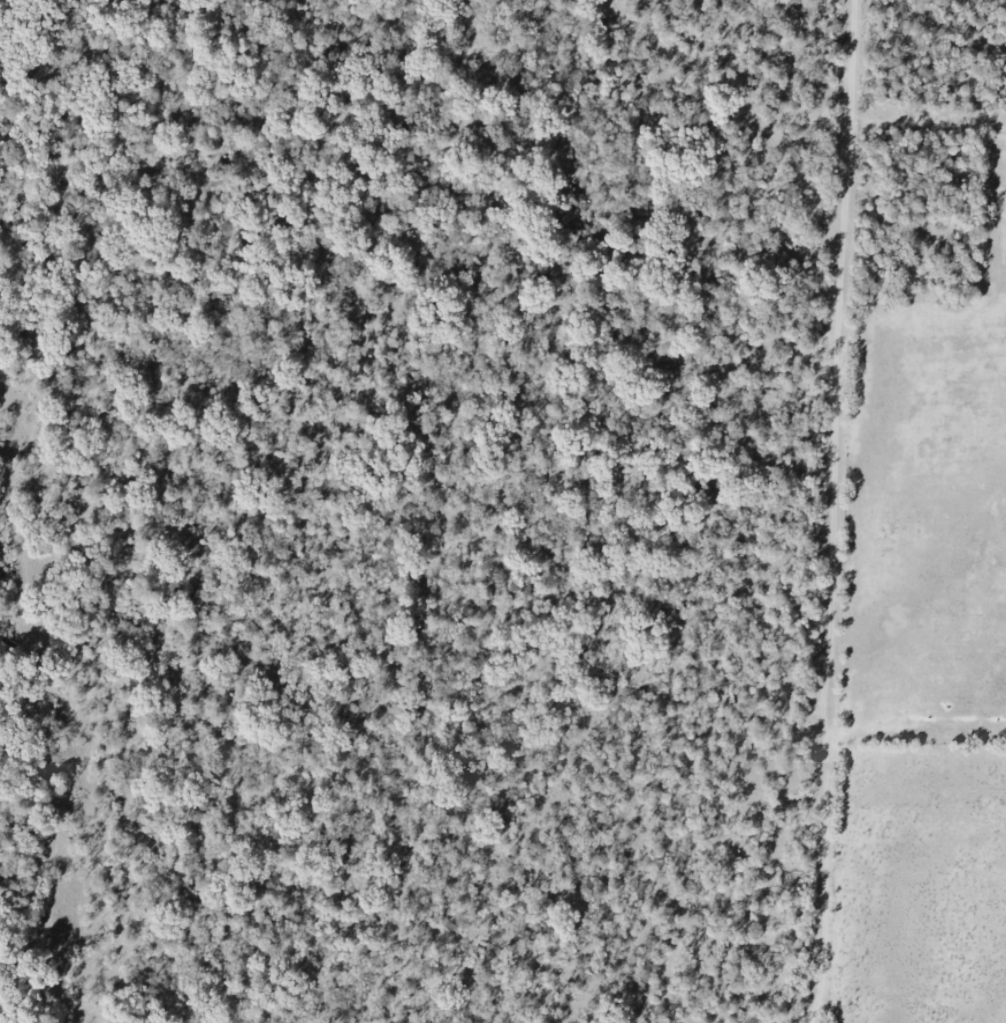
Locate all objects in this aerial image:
road: (833, 512)

